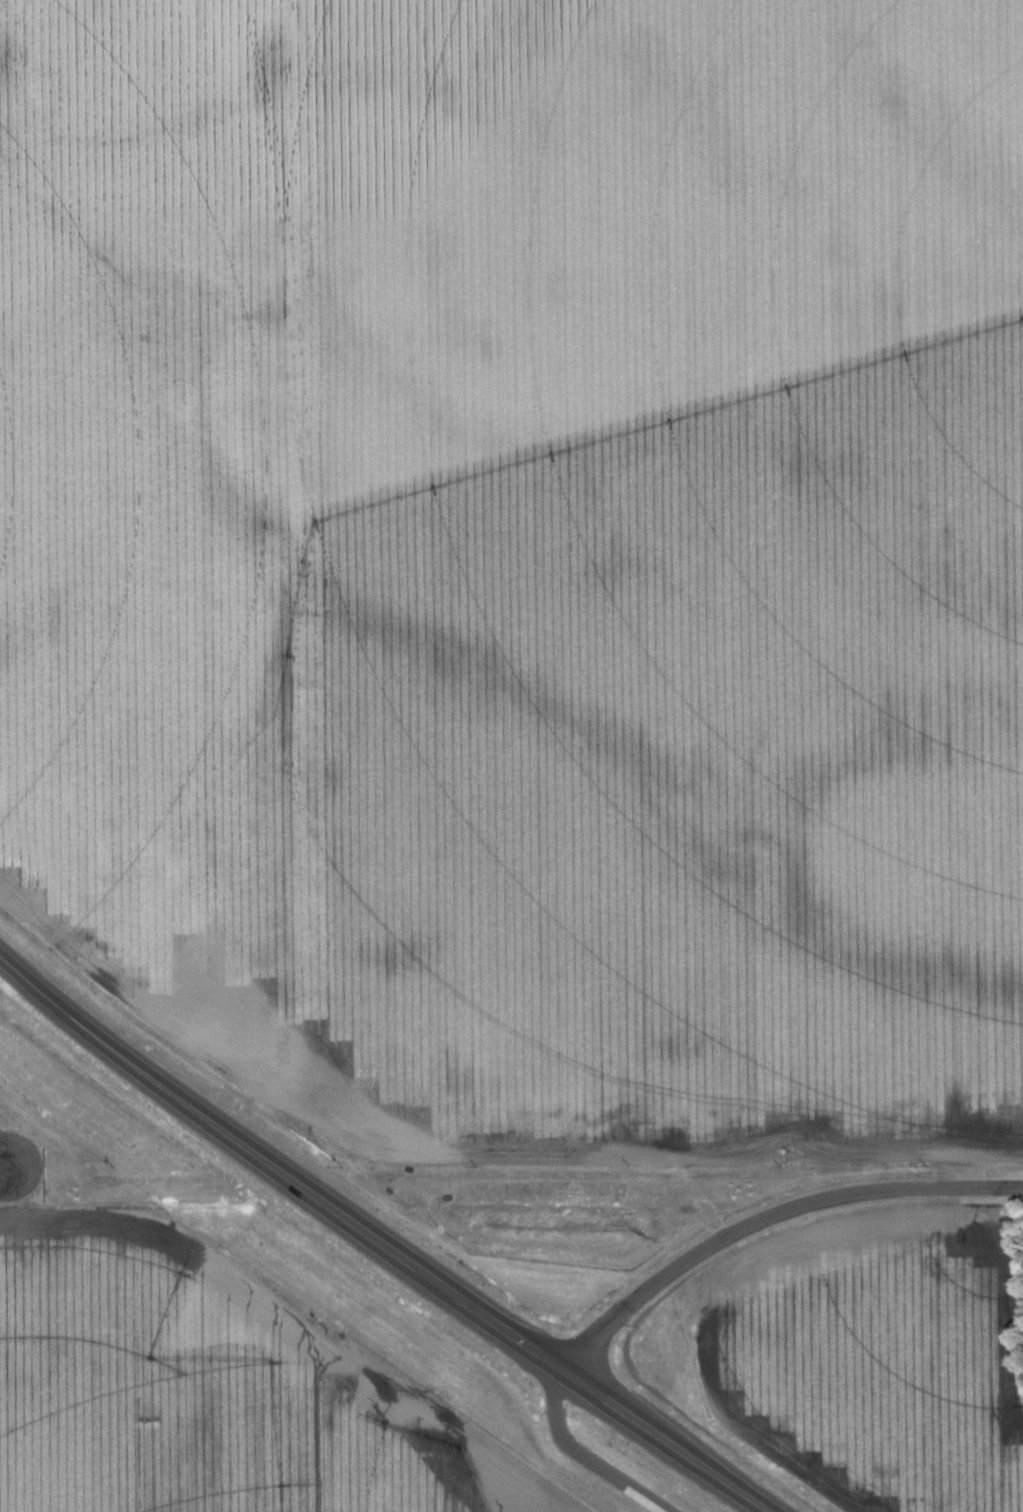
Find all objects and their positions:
crop: (156, 513)
crop: (692, 577)
road: (11, 1173)
road: (770, 1208)
road: (393, 1233)
crop: (887, 1365)
road: (588, 1455)

